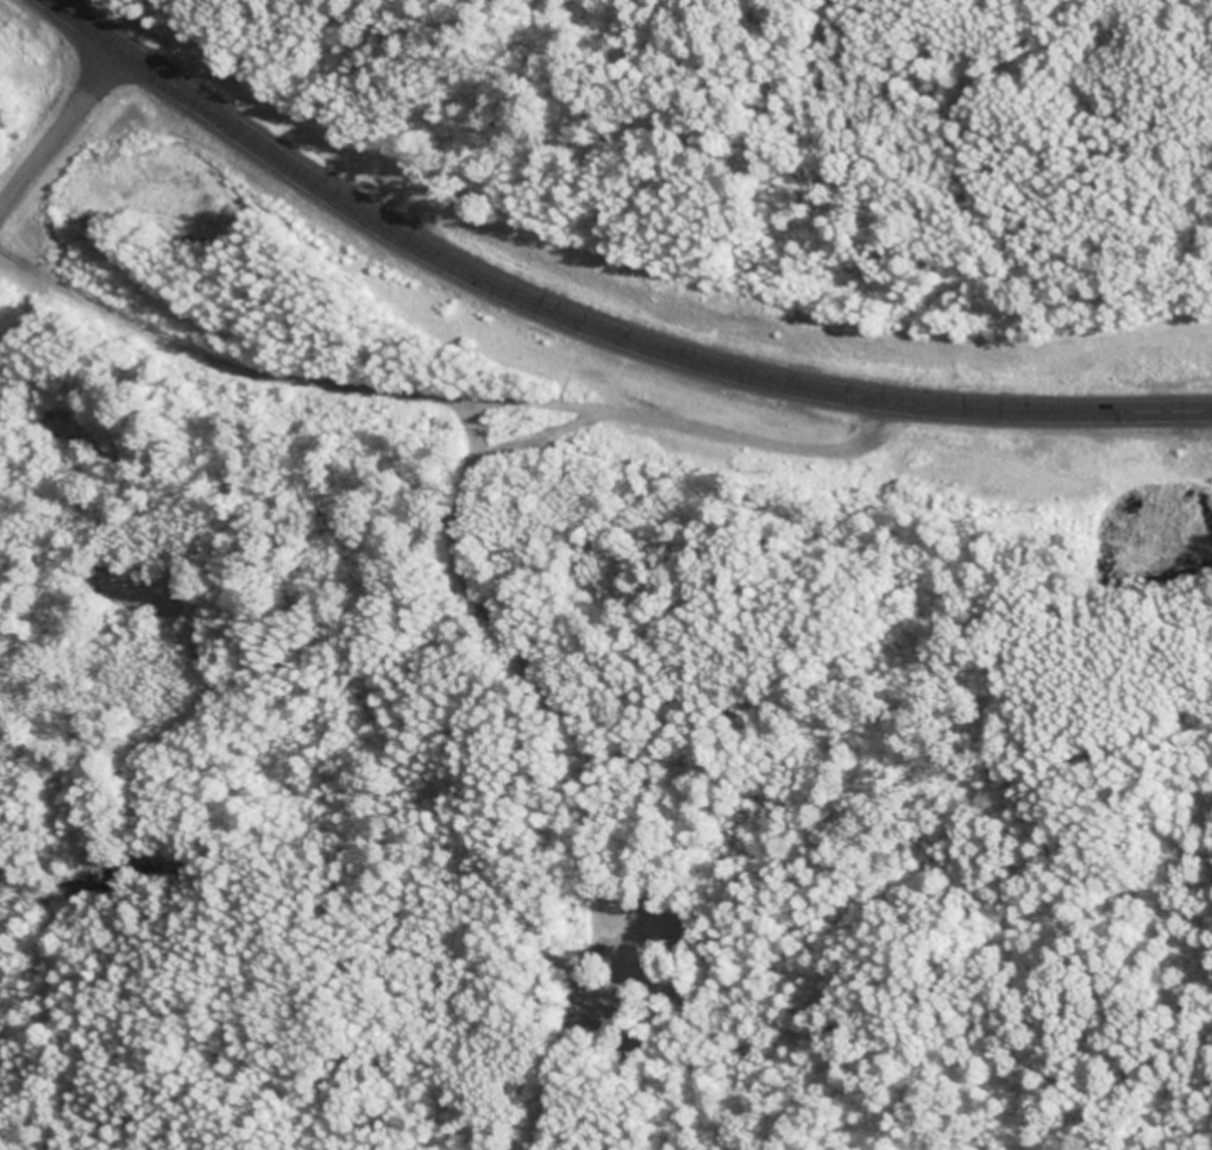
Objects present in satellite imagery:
road: (70, 134)
road: (592, 312)

